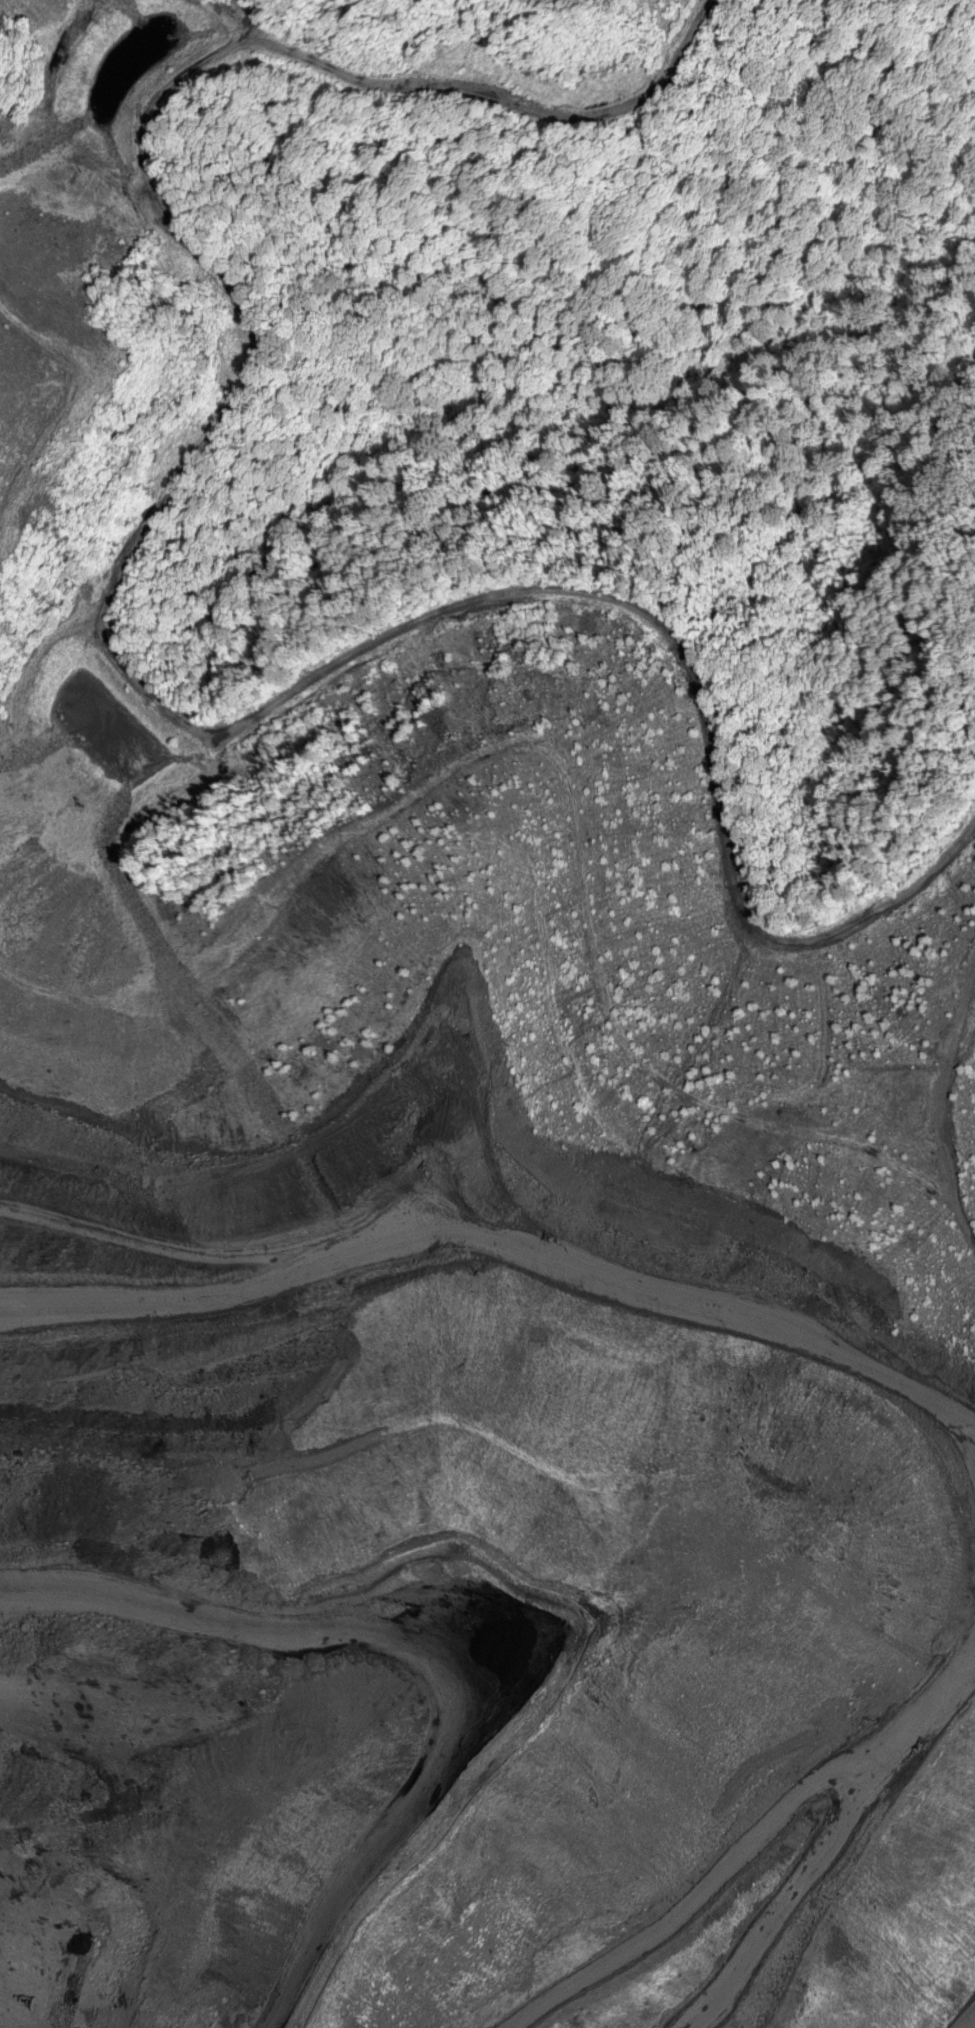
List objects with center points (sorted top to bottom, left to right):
quarry: (442, 1245)

